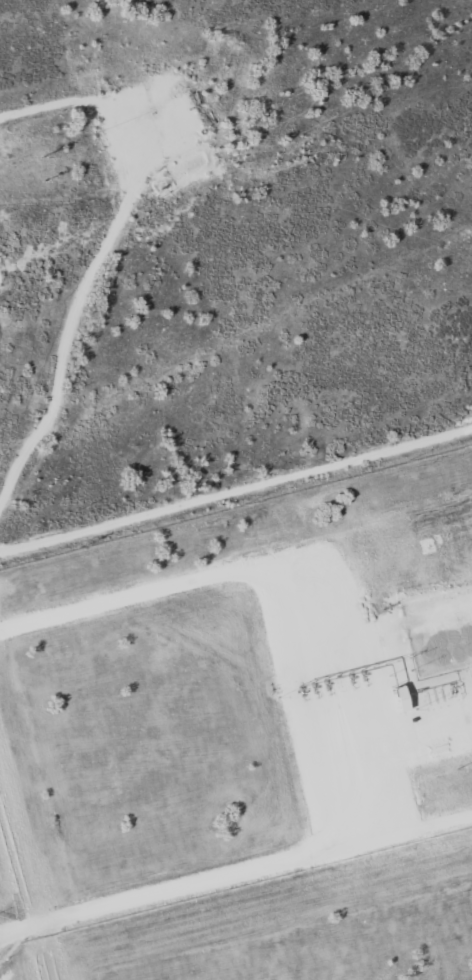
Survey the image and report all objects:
road: (236, 876)

